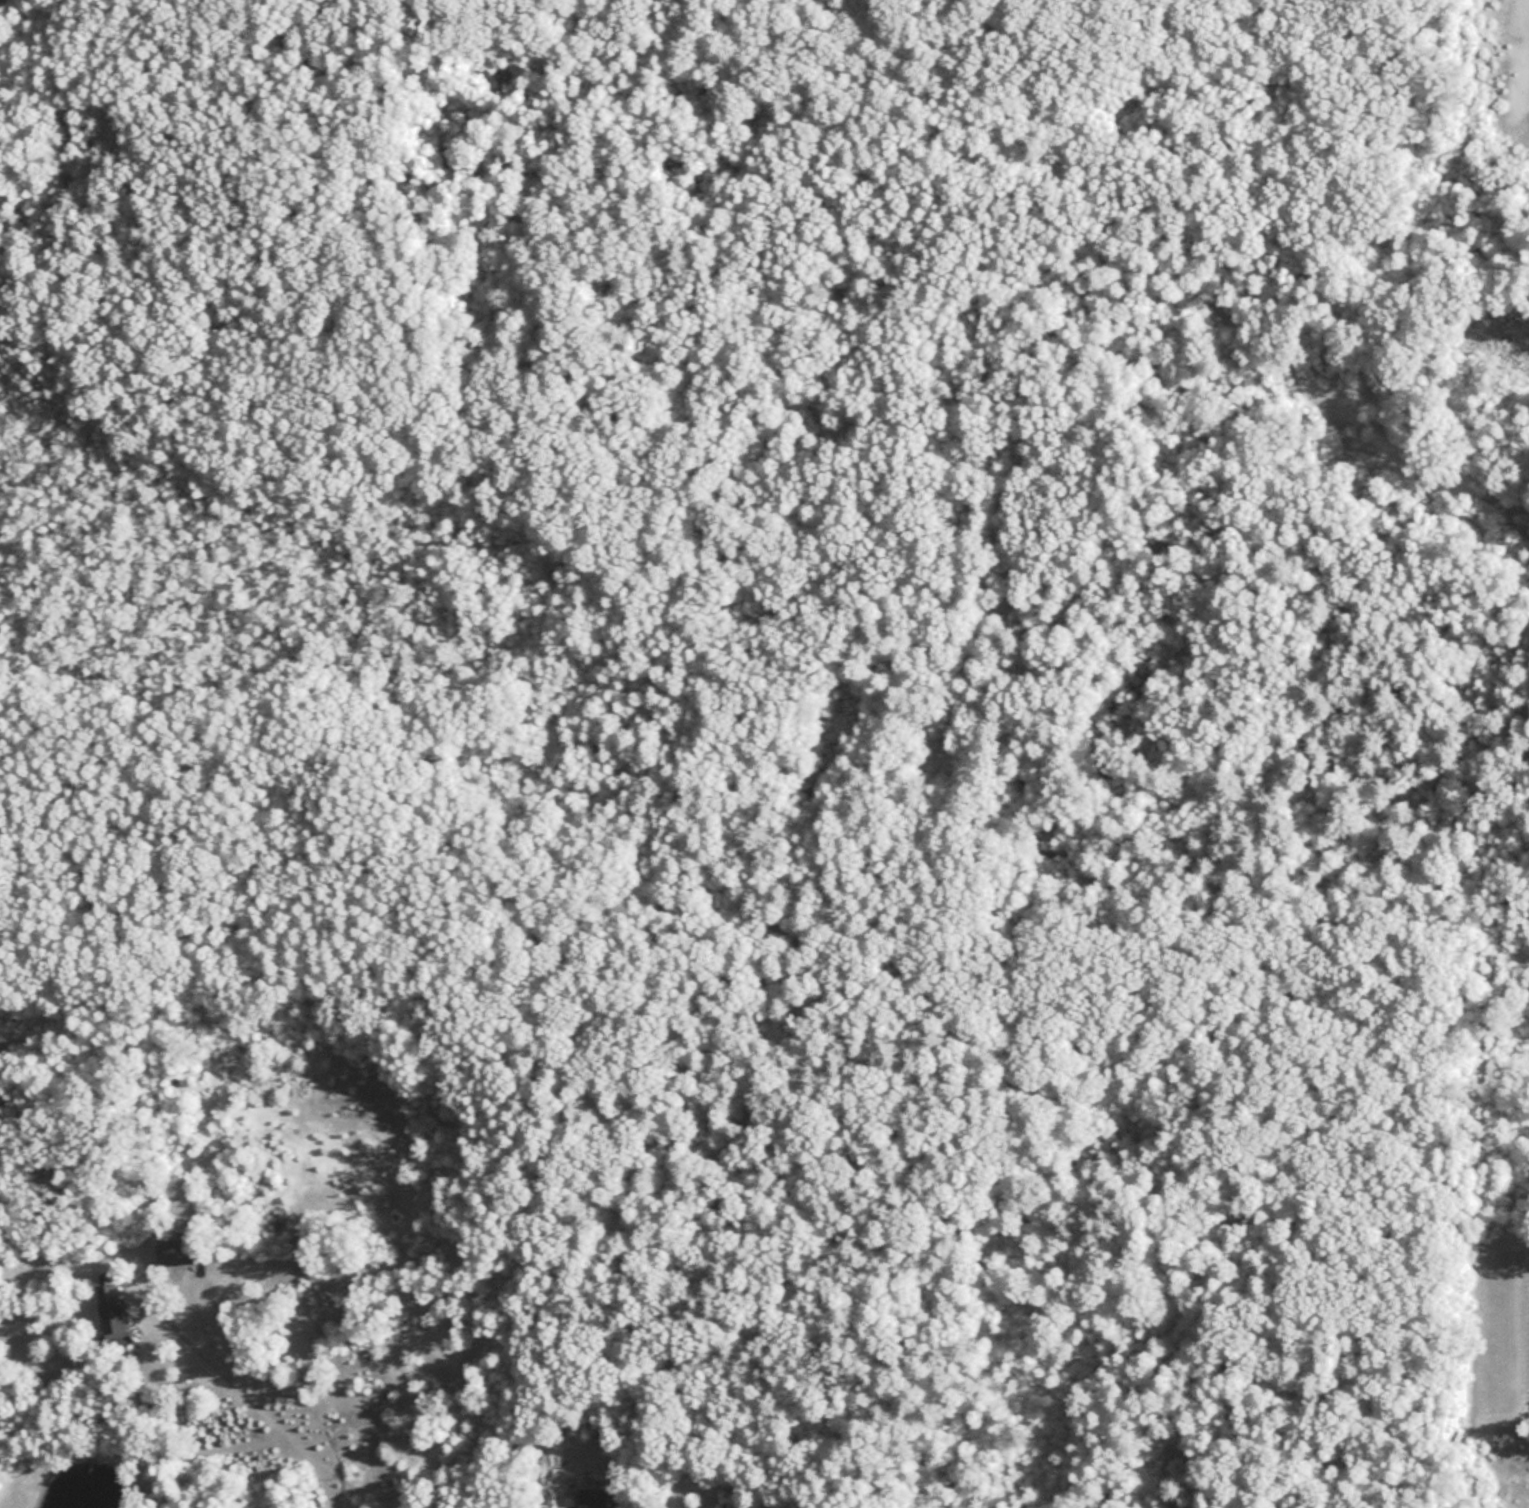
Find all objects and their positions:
building: (176, 1252)
building: (113, 1311)
road: (261, 1412)
building: (592, 1498)

